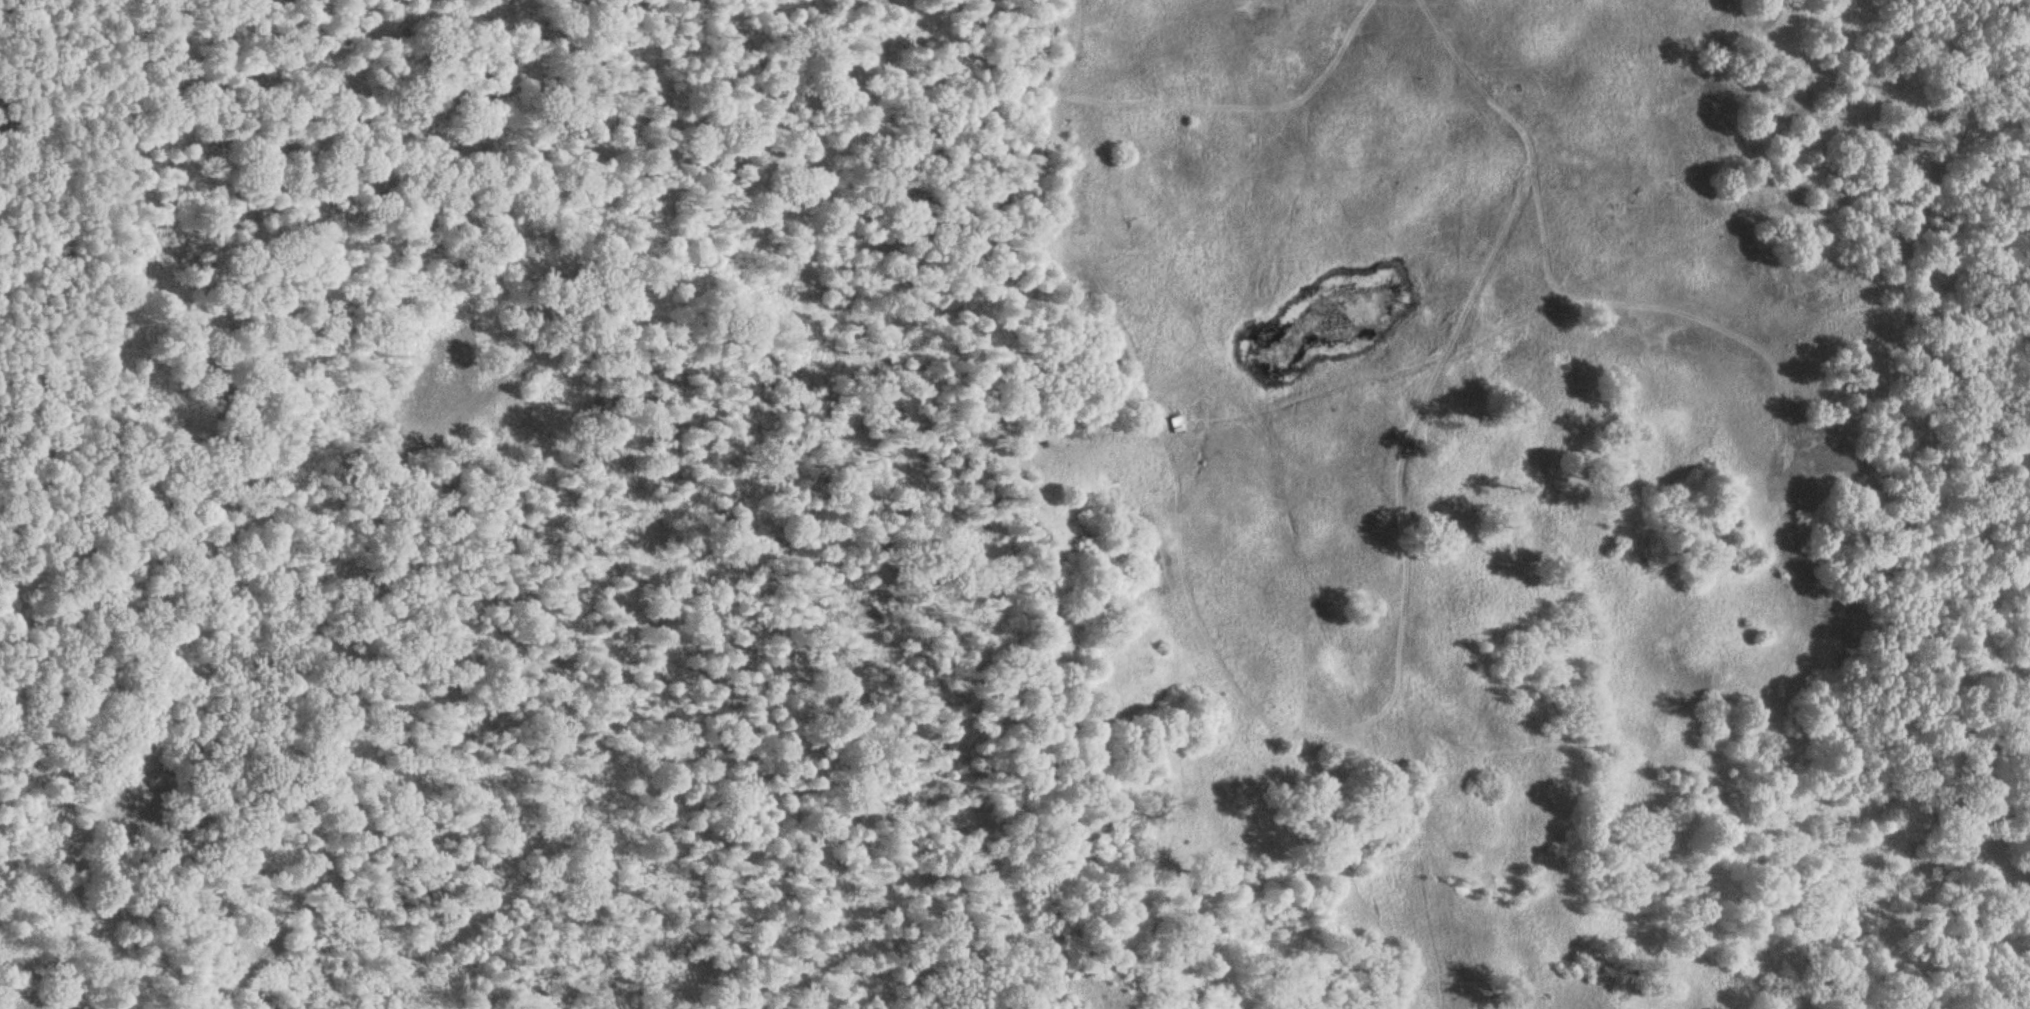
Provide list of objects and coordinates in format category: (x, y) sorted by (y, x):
building: (1071, 212)
building: (1177, 422)

